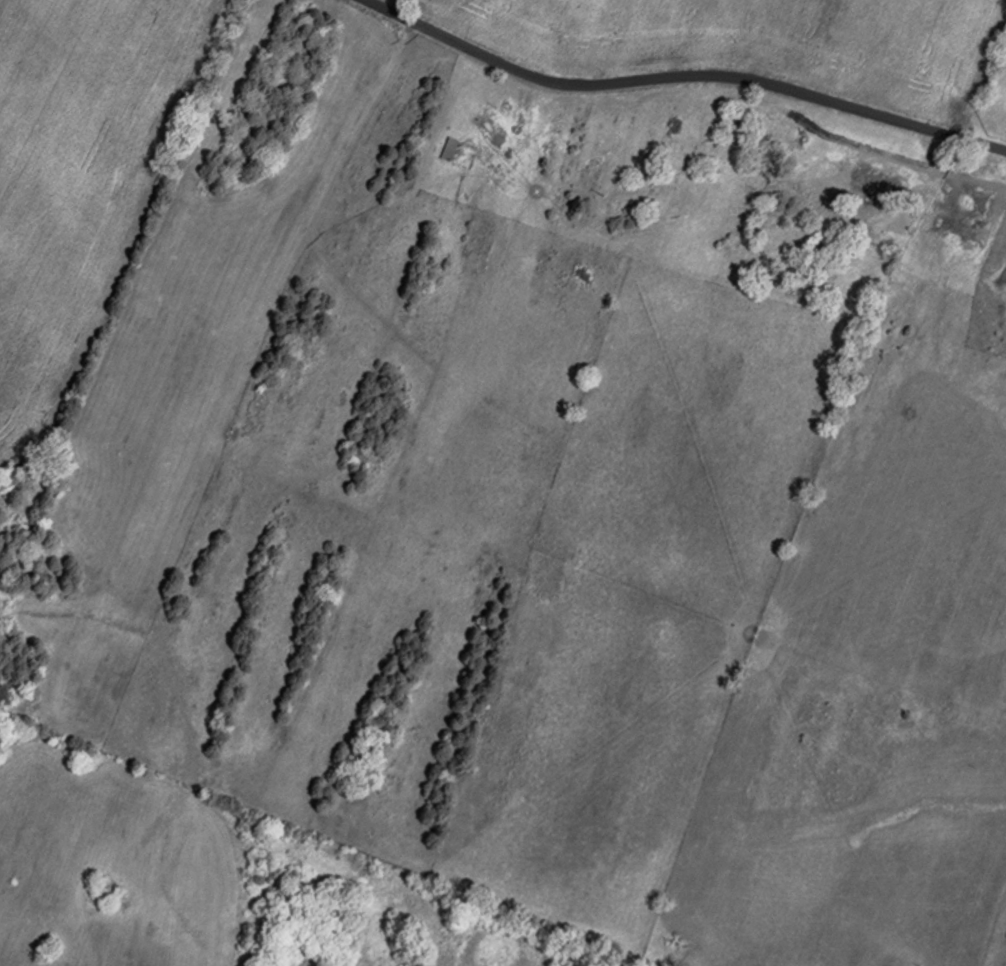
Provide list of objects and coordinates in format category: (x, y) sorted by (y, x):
road: (684, 80)

